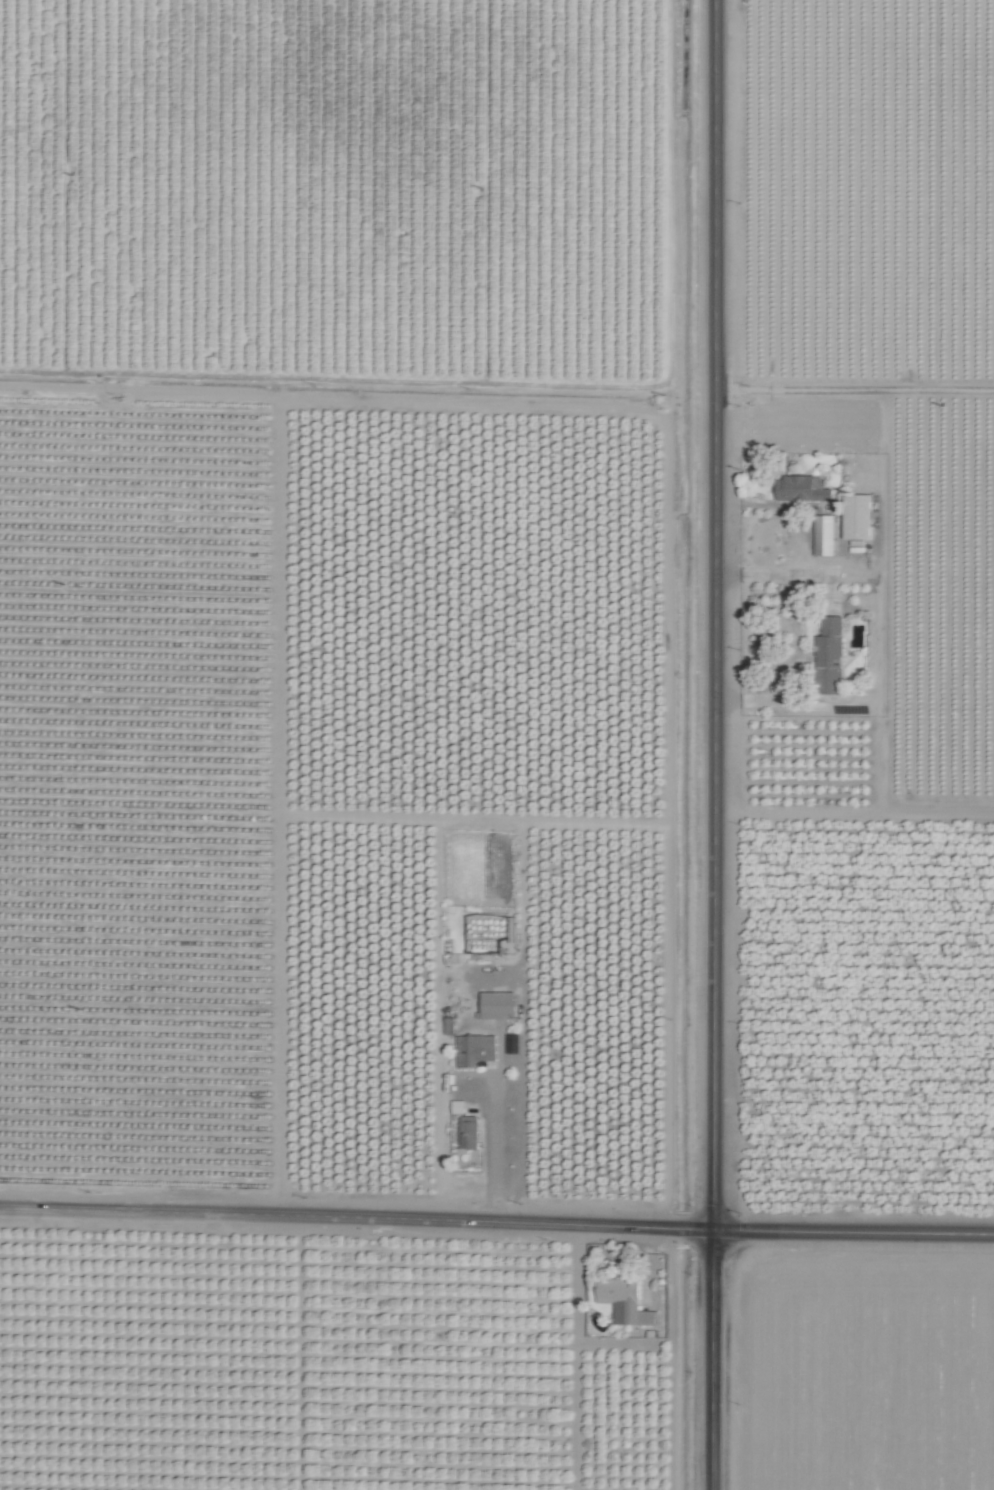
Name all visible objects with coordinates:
road: (715, 464)
building: (803, 489)
road: (772, 508)
building: (859, 518)
building: (824, 535)
road: (800, 639)
building: (832, 654)
crop: (497, 745)
building: (499, 1004)
building: (450, 1025)
building: (476, 1049)
road: (712, 1078)
building: (459, 1107)
building: (470, 1132)
road: (493, 1132)
street lamp: (739, 1213)
road: (497, 1224)
building: (625, 1301)
road: (576, 1320)
road: (712, 1360)

